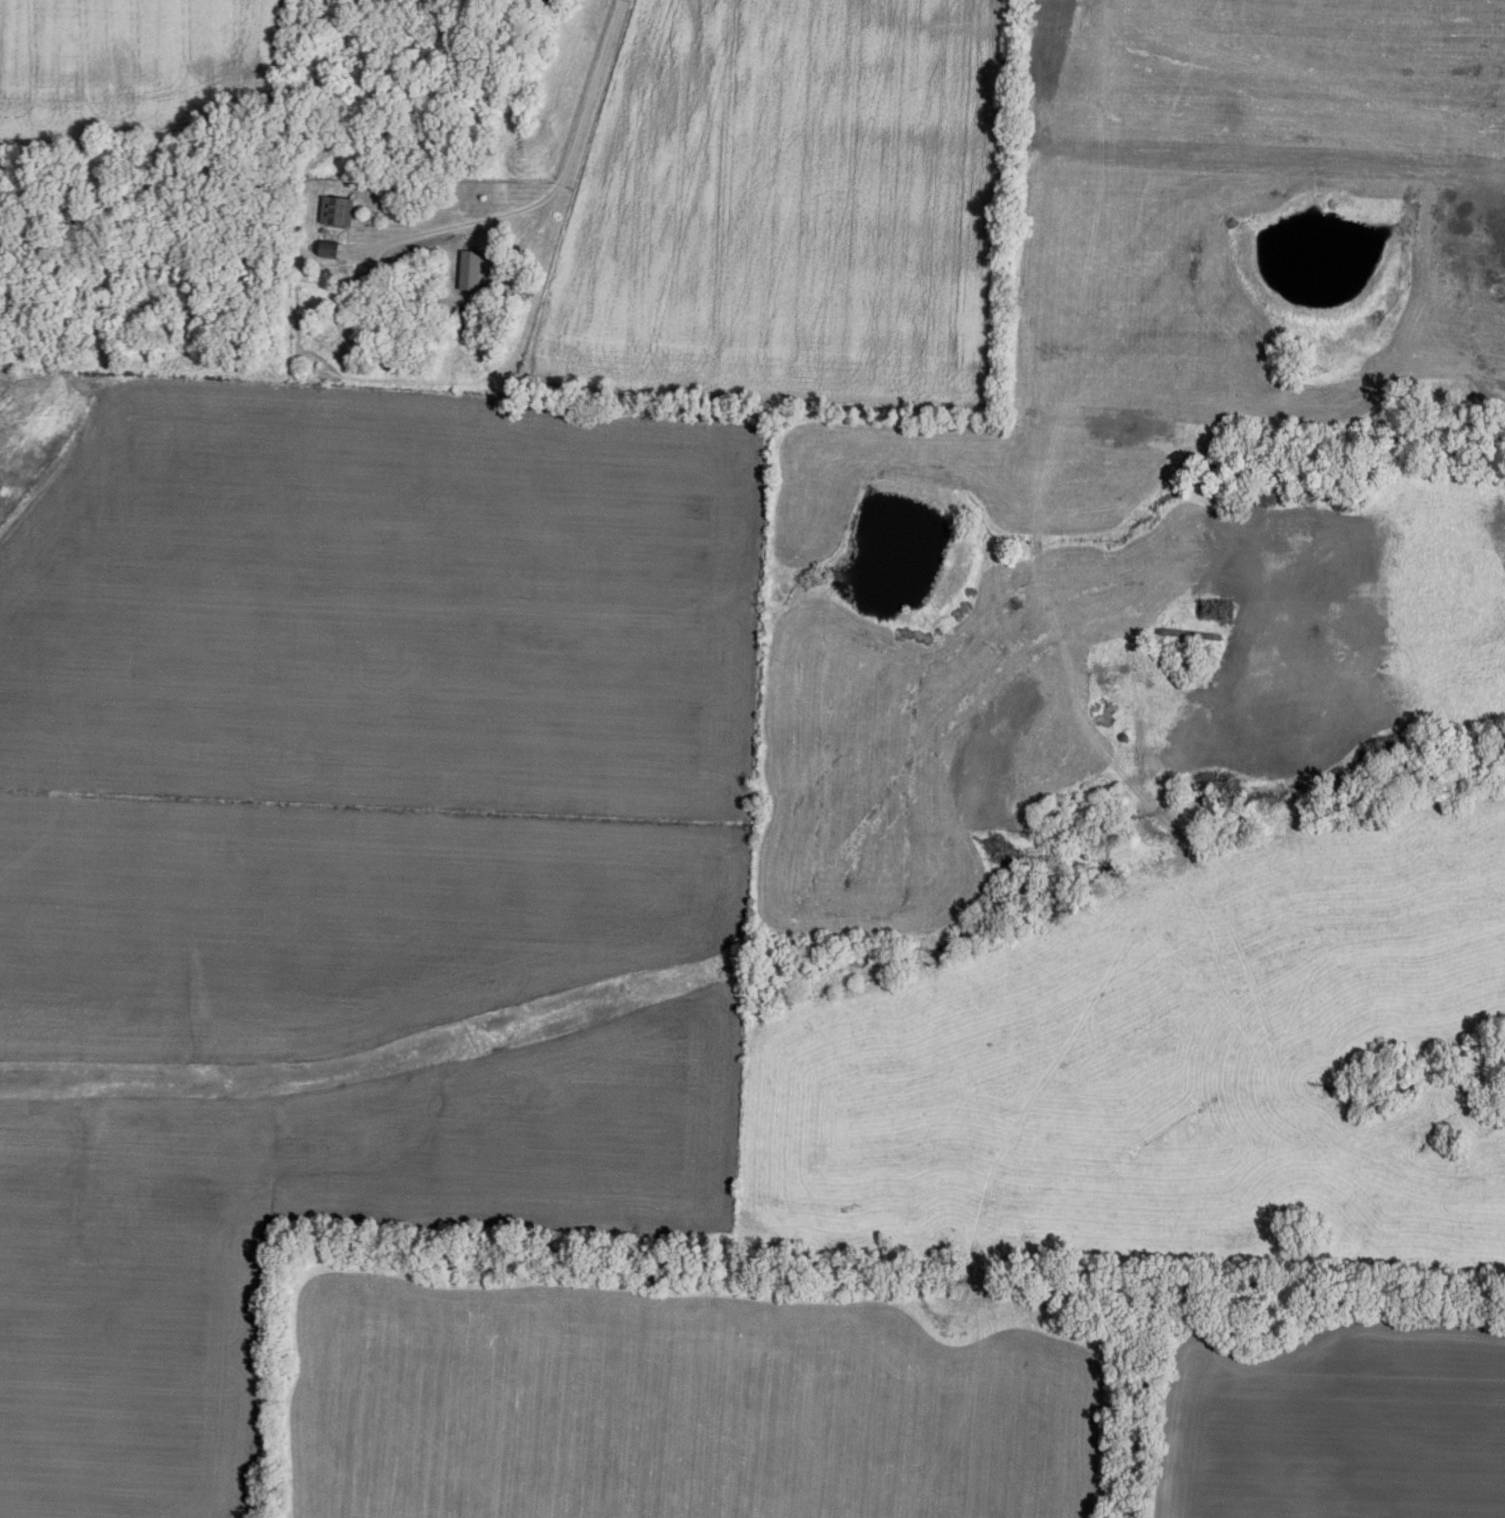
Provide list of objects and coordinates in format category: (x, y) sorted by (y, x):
road: (550, 199)
building: (337, 207)
building: (470, 267)

